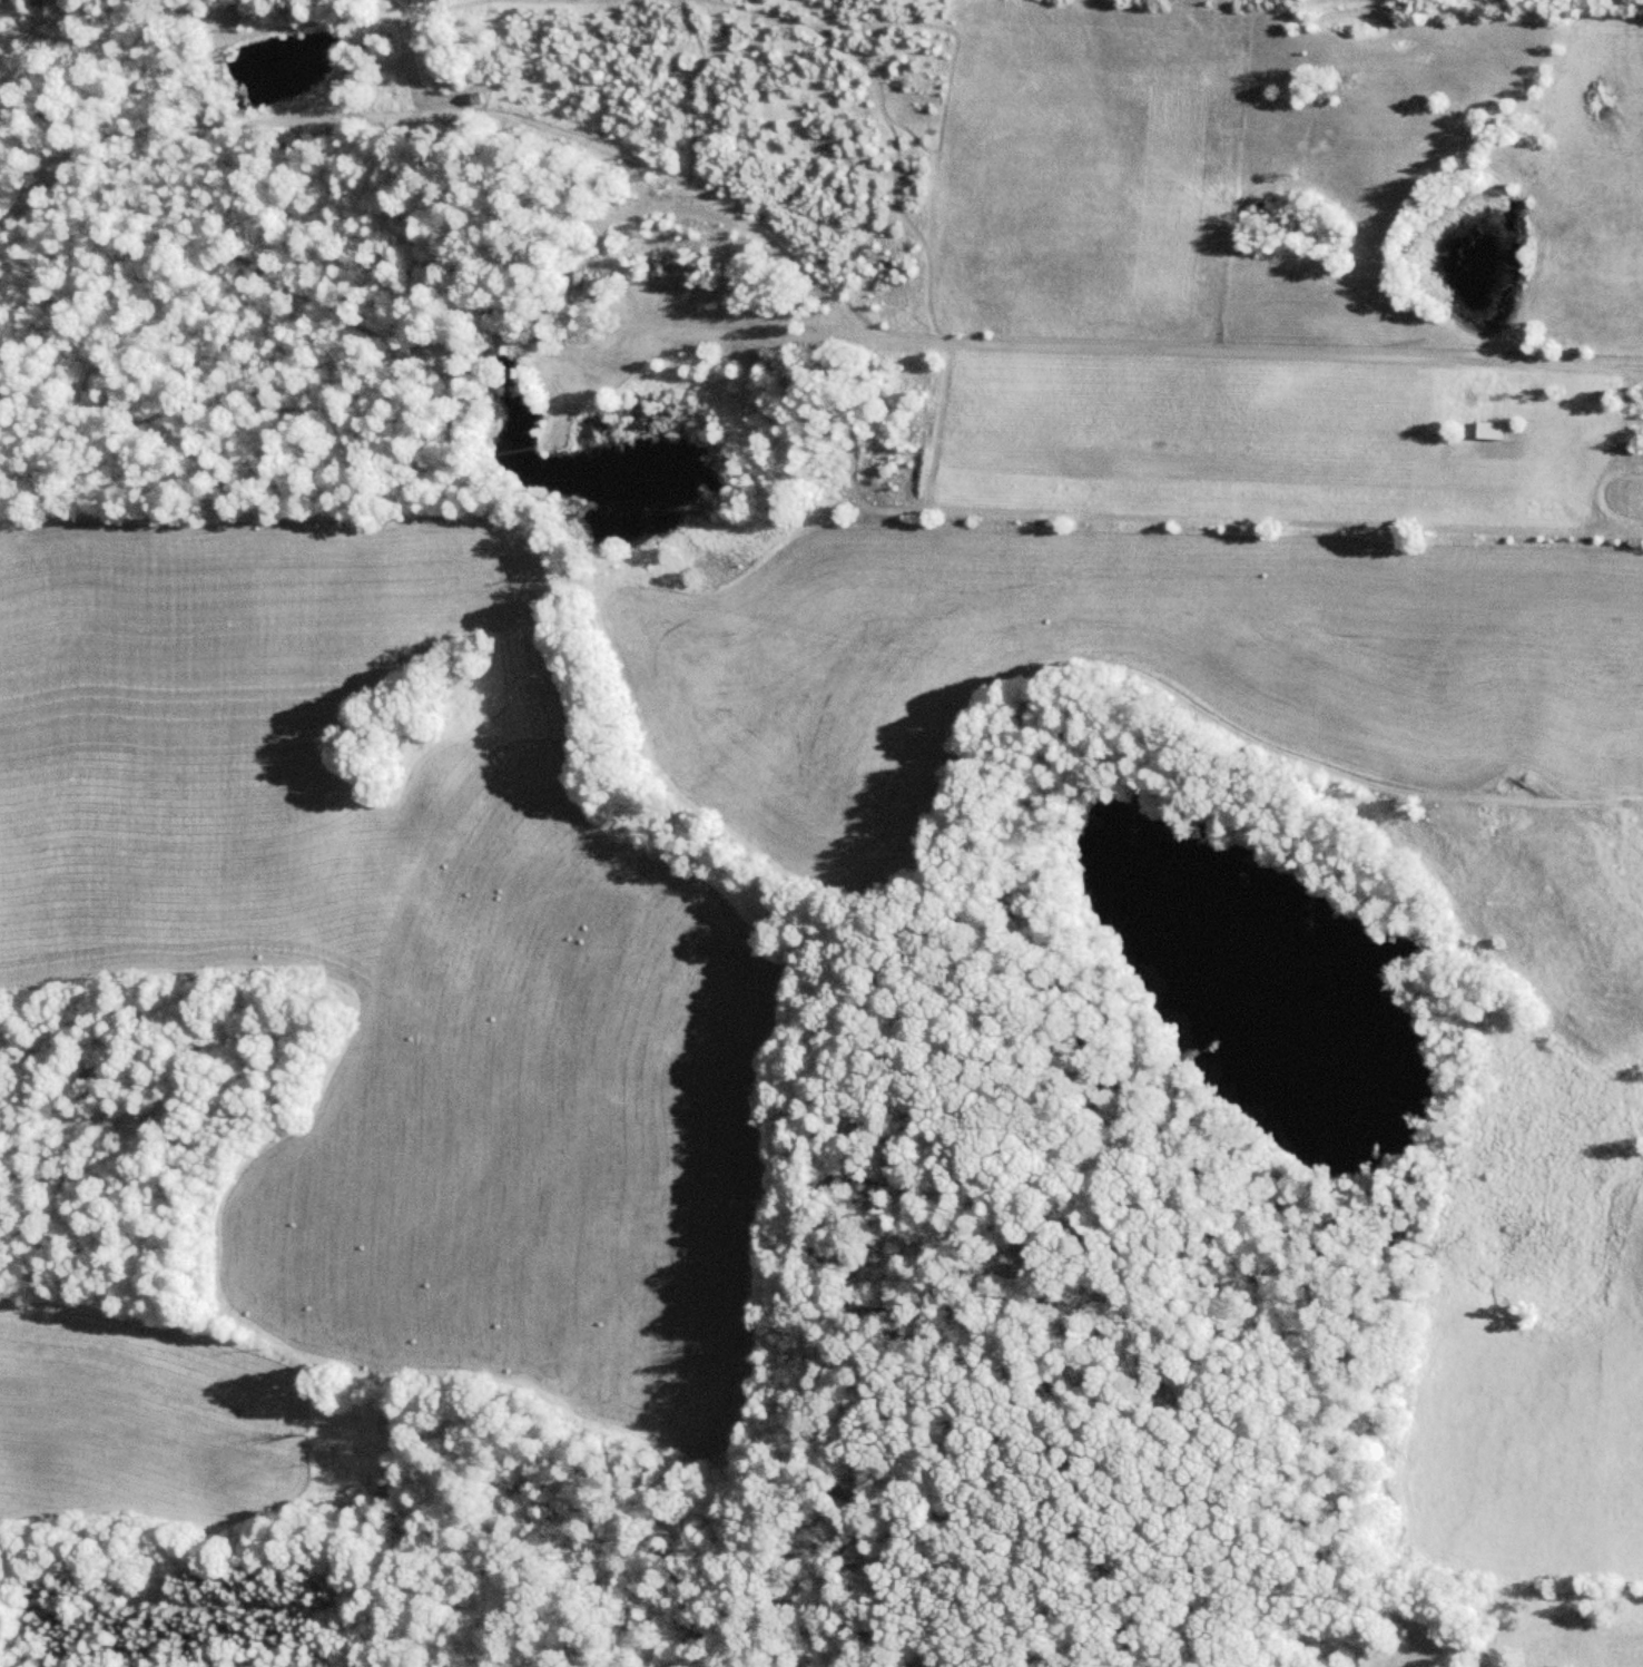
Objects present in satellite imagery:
building: (1493, 430)

